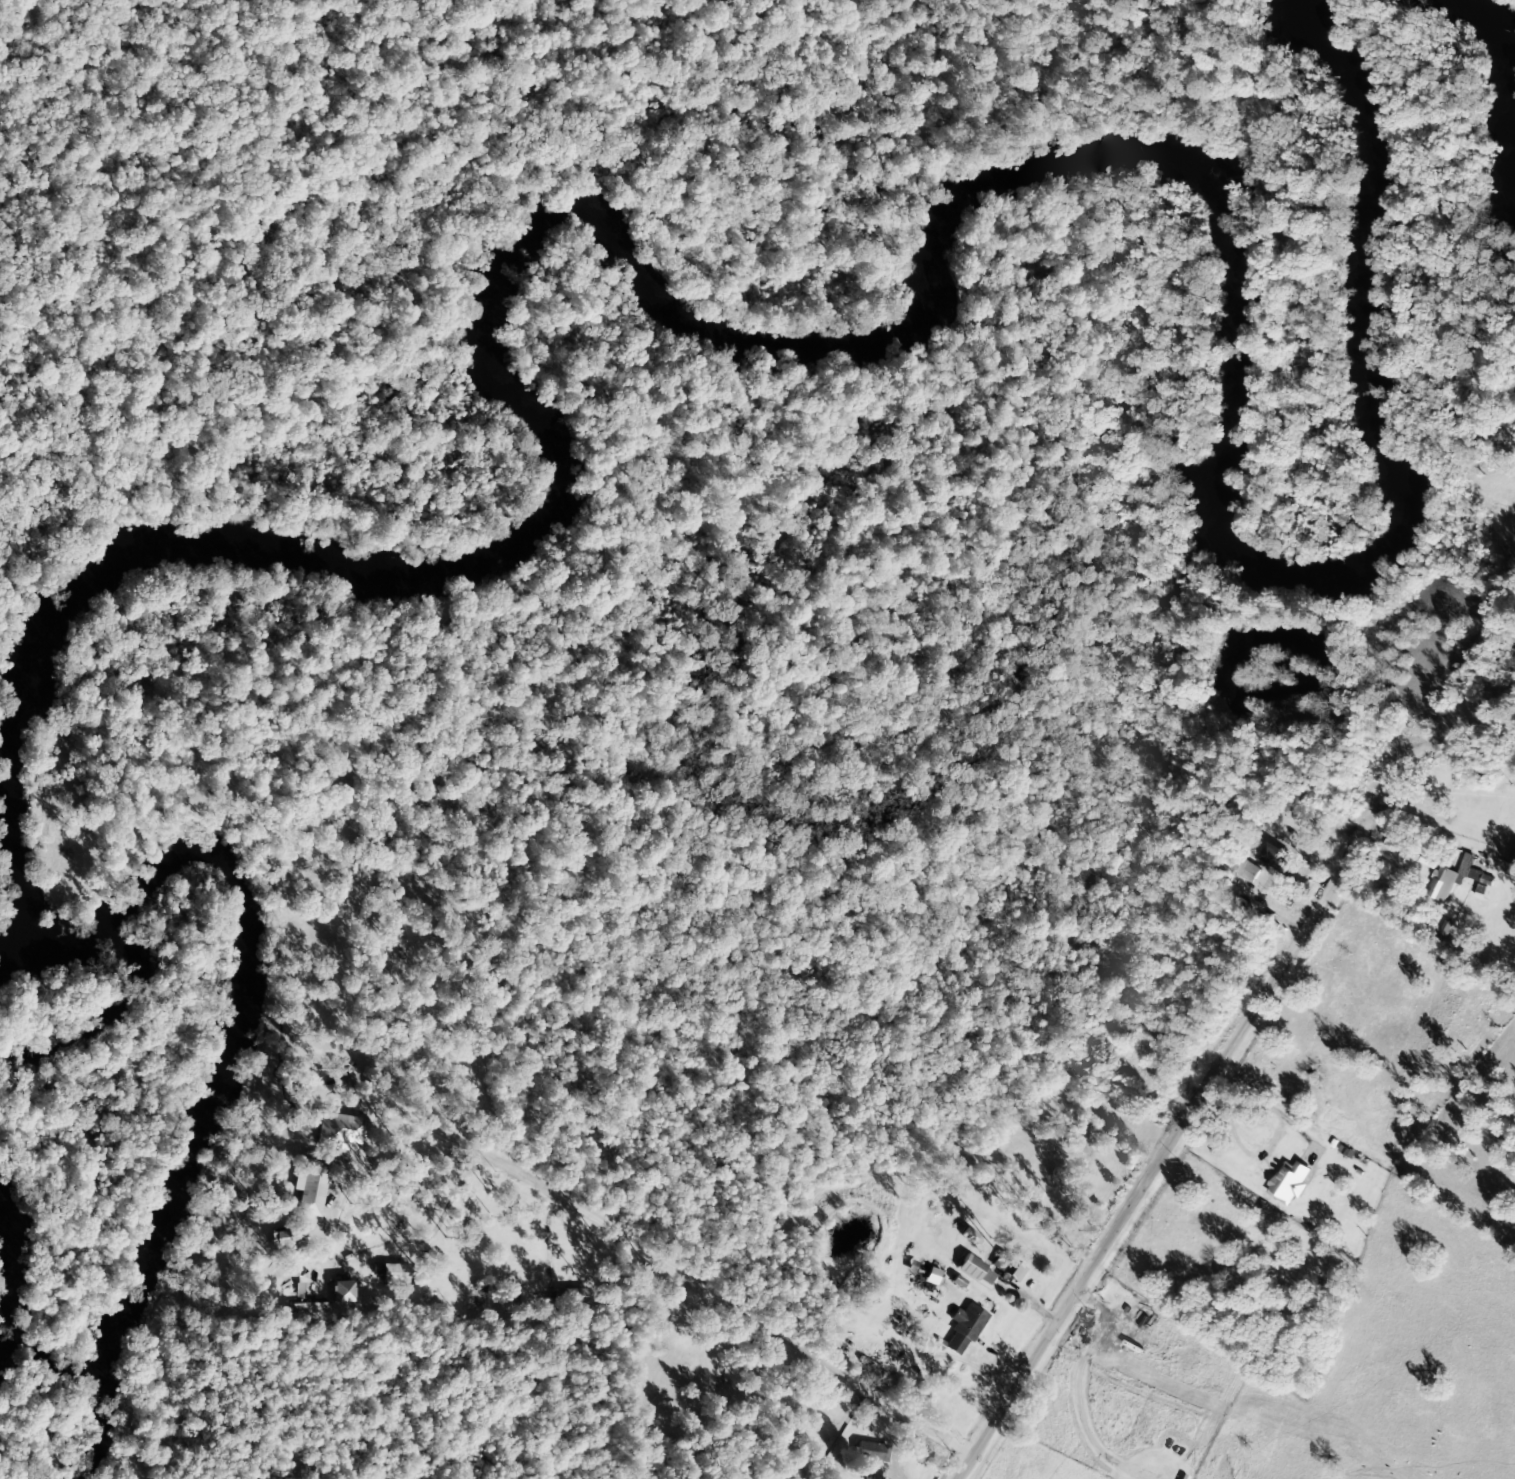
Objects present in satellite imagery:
river: (1497, 81)
river: (555, 466)
river: (1318, 573)
building: (1281, 861)
building: (1247, 871)
building: (1474, 874)
building: (1441, 884)
river: (219, 1063)
building: (331, 1131)
road: (1162, 1147)
building: (1288, 1182)
building: (308, 1192)
road: (662, 1262)
building: (990, 1269)
building: (392, 1272)
building: (924, 1275)
building: (342, 1292)
building: (306, 1308)
building: (963, 1329)
building: (869, 1452)
building: (872, 1474)

